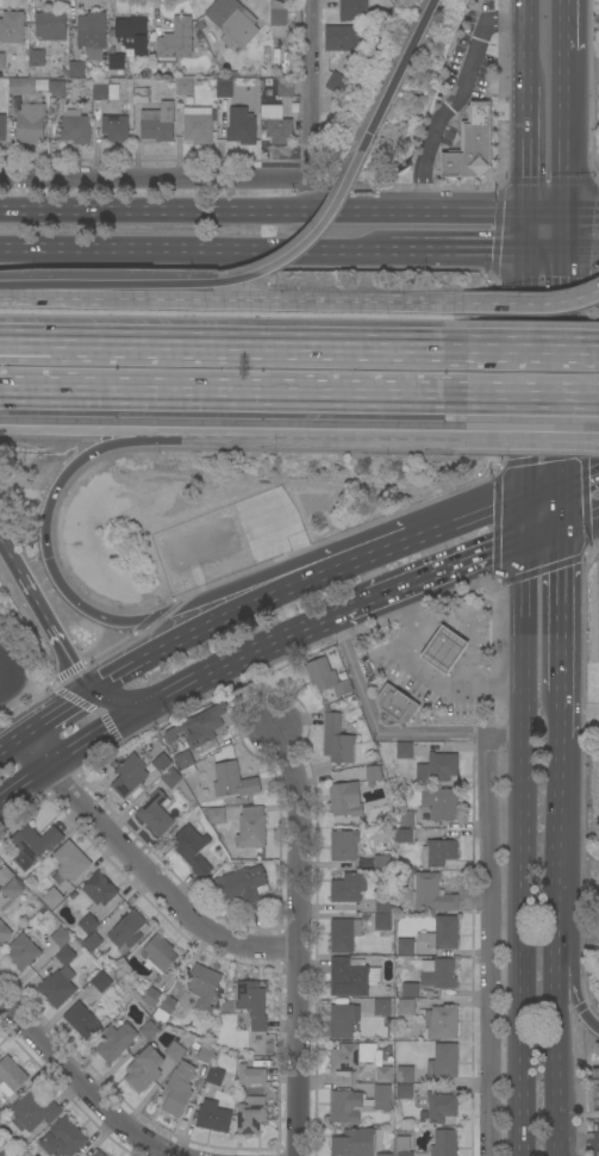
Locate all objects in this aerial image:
building: (354, 11)
building: (279, 14)
building: (232, 21)
road: (566, 25)
building: (13, 27)
building: (50, 29)
building: (92, 31)
building: (133, 33)
building: (345, 38)
building: (175, 41)
building: (93, 55)
building: (130, 55)
road: (532, 56)
building: (36, 58)
building: (2, 61)
building: (116, 63)
building: (76, 69)
road: (399, 72)
building: (100, 81)
building: (338, 85)
building: (21, 86)
building: (42, 86)
building: (183, 87)
building: (56, 88)
building: (224, 88)
building: (286, 88)
building: (100, 92)
road: (307, 92)
building: (114, 93)
building: (141, 95)
road: (460, 99)
building: (35, 100)
building: (157, 123)
building: (31, 124)
building: (198, 124)
building: (242, 126)
building: (75, 128)
building: (114, 128)
building: (2, 129)
building: (279, 129)
traffic signals: (370, 133)
road: (566, 133)
building: (472, 144)
road: (532, 164)
road: (154, 182)
road: (307, 199)
road: (266, 213)
traffic signals: (532, 216)
road: (549, 216)
traffic signals: (567, 216)
road: (582, 216)
road: (532, 234)
road: (566, 234)
road: (311, 237)
road: (195, 251)
road: (461, 253)
traffic signals: (532, 253)
road: (549, 253)
traffic signals: (566, 253)
road: (582, 253)
road: (119, 291)
road: (12, 298)
road: (238, 300)
road: (526, 303)
road: (220, 346)
road: (520, 348)
road: (531, 375)
road: (564, 386)
road: (220, 391)
road: (520, 394)
road: (67, 429)
road: (299, 434)
road: (530, 436)
road: (598, 437)
road: (598, 437)
road: (118, 440)
traffic signals: (531, 448)
traffic signals: (591, 476)
road: (581, 478)
road: (547, 492)
road: (580, 512)
road: (530, 516)
road: (470, 522)
road: (547, 526)
traffic signals: (487, 549)
road: (46, 558)
traffic signals: (46, 558)
road: (448, 564)
road: (360, 565)
traffic signals: (563, 573)
road: (229, 601)
road: (348, 603)
road: (563, 604)
road: (44, 617)
road: (469, 623)
road: (198, 634)
road: (529, 635)
building: (444, 650)
gas station: (445, 651)
road: (226, 655)
traffic signals: (70, 661)
road: (426, 673)
traffic signals: (119, 677)
building: (326, 678)
road: (111, 700)
building: (395, 707)
gas station: (395, 707)
road: (58, 713)
traffic signals: (98, 726)
building: (199, 727)
road: (85, 734)
road: (386, 737)
building: (337, 740)
road: (13, 745)
road: (33, 748)
building: (405, 751)
road: (0, 753)
building: (183, 759)
building: (161, 763)
building: (437, 767)
building: (374, 773)
building: (129, 776)
road: (20, 777)
building: (171, 778)
building: (233, 783)
building: (345, 800)
building: (439, 803)
building: (156, 813)
building: (214, 814)
building: (406, 819)
building: (251, 827)
building: (404, 837)
building: (36, 841)
building: (344, 845)
building: (192, 850)
building: (438, 853)
building: (70, 862)
building: (382, 863)
building: (5, 875)
road: (155, 883)
building: (242, 887)
building: (349, 888)
building: (14, 889)
building: (99, 889)
building: (431, 894)
building: (52, 899)
building: (383, 905)
building: (382, 922)
road: (556, 922)
building: (88, 924)
building: (127, 930)
building: (4, 932)
building: (443, 934)
building: (343, 936)
building: (61, 937)
road: (297, 940)
building: (93, 943)
road: (488, 946)
road: (526, 946)
building: (406, 947)
building: (23, 951)
building: (158, 953)
building: (64, 956)
building: (438, 974)
building: (351, 977)
building: (101, 982)
road: (567, 986)
building: (204, 987)
building: (54, 989)
building: (410, 989)
building: (152, 997)
building: (252, 1003)
building: (405, 1006)
building: (383, 1007)
building: (164, 1009)
building: (82, 1019)
building: (343, 1020)
road: (587, 1020)
building: (441, 1023)
building: (149, 1031)
building: (116, 1040)
building: (175, 1051)
building: (204, 1054)
building: (360, 1061)
building: (443, 1061)
building: (144, 1069)
building: (250, 1075)
building: (405, 1075)
building: (11, 1076)
building: (214, 1076)
road: (82, 1084)
building: (177, 1089)
building: (405, 1092)
building: (593, 1093)
building: (357, 1104)
building: (441, 1107)
building: (0, 1112)
building: (32, 1112)
building: (251, 1115)
building: (213, 1117)
building: (63, 1138)
parking lot: (595, 1139)
building: (356, 1143)
building: (444, 1143)
road: (581, 1145)
building: (403, 1146)
building: (5, 1154)
building: (98, 1154)
building: (383, 1155)

